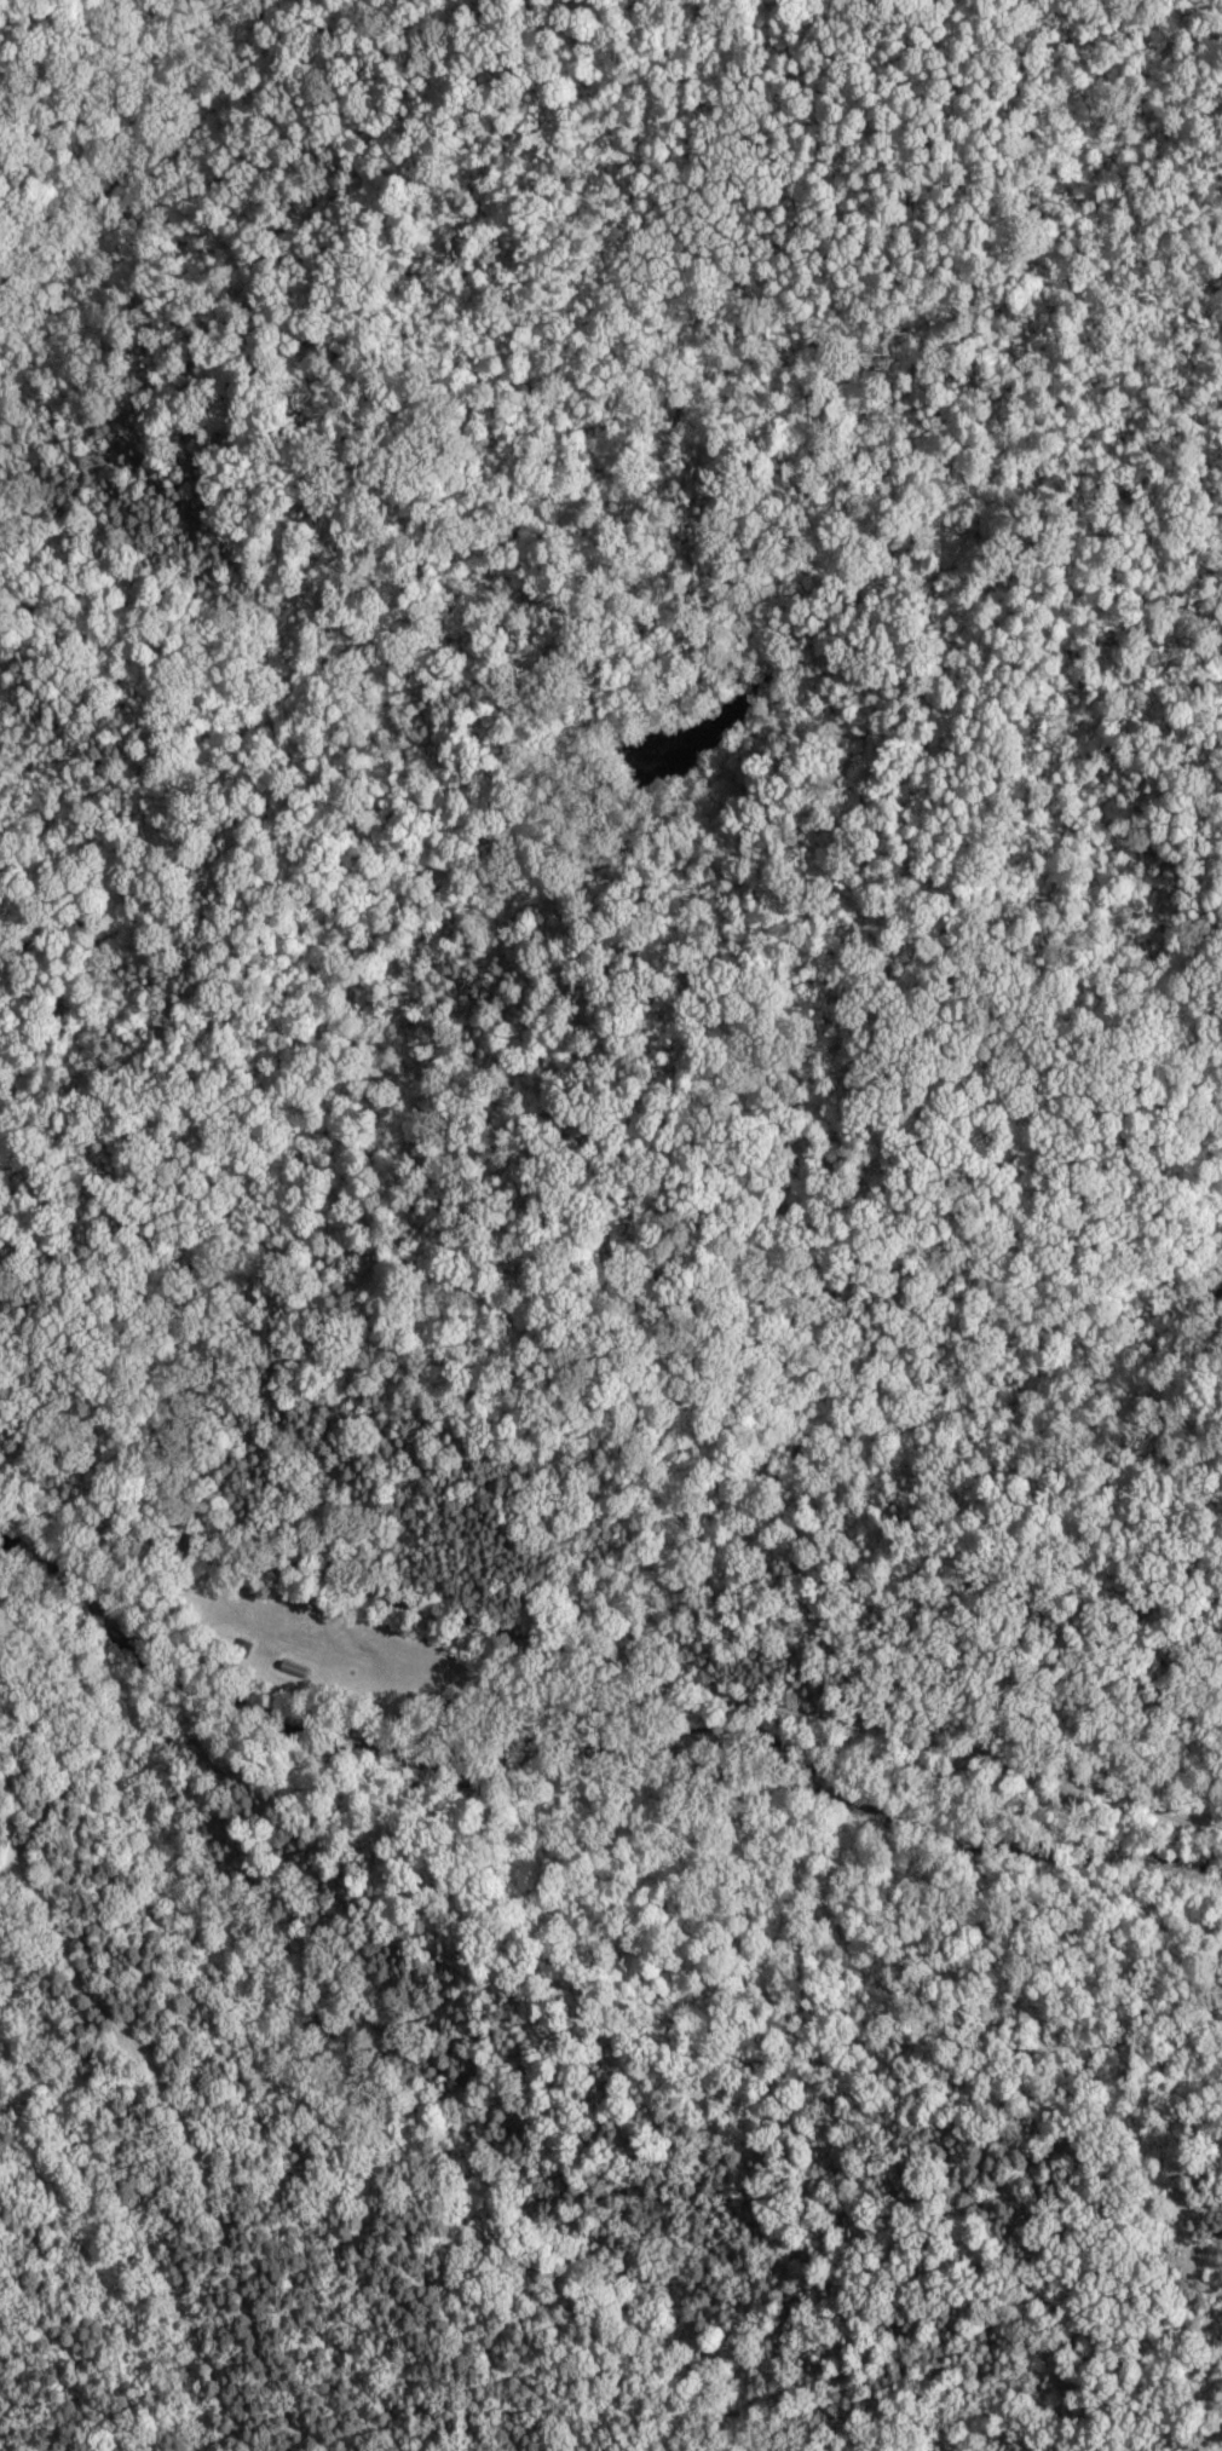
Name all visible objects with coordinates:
road: (616, 1622)

